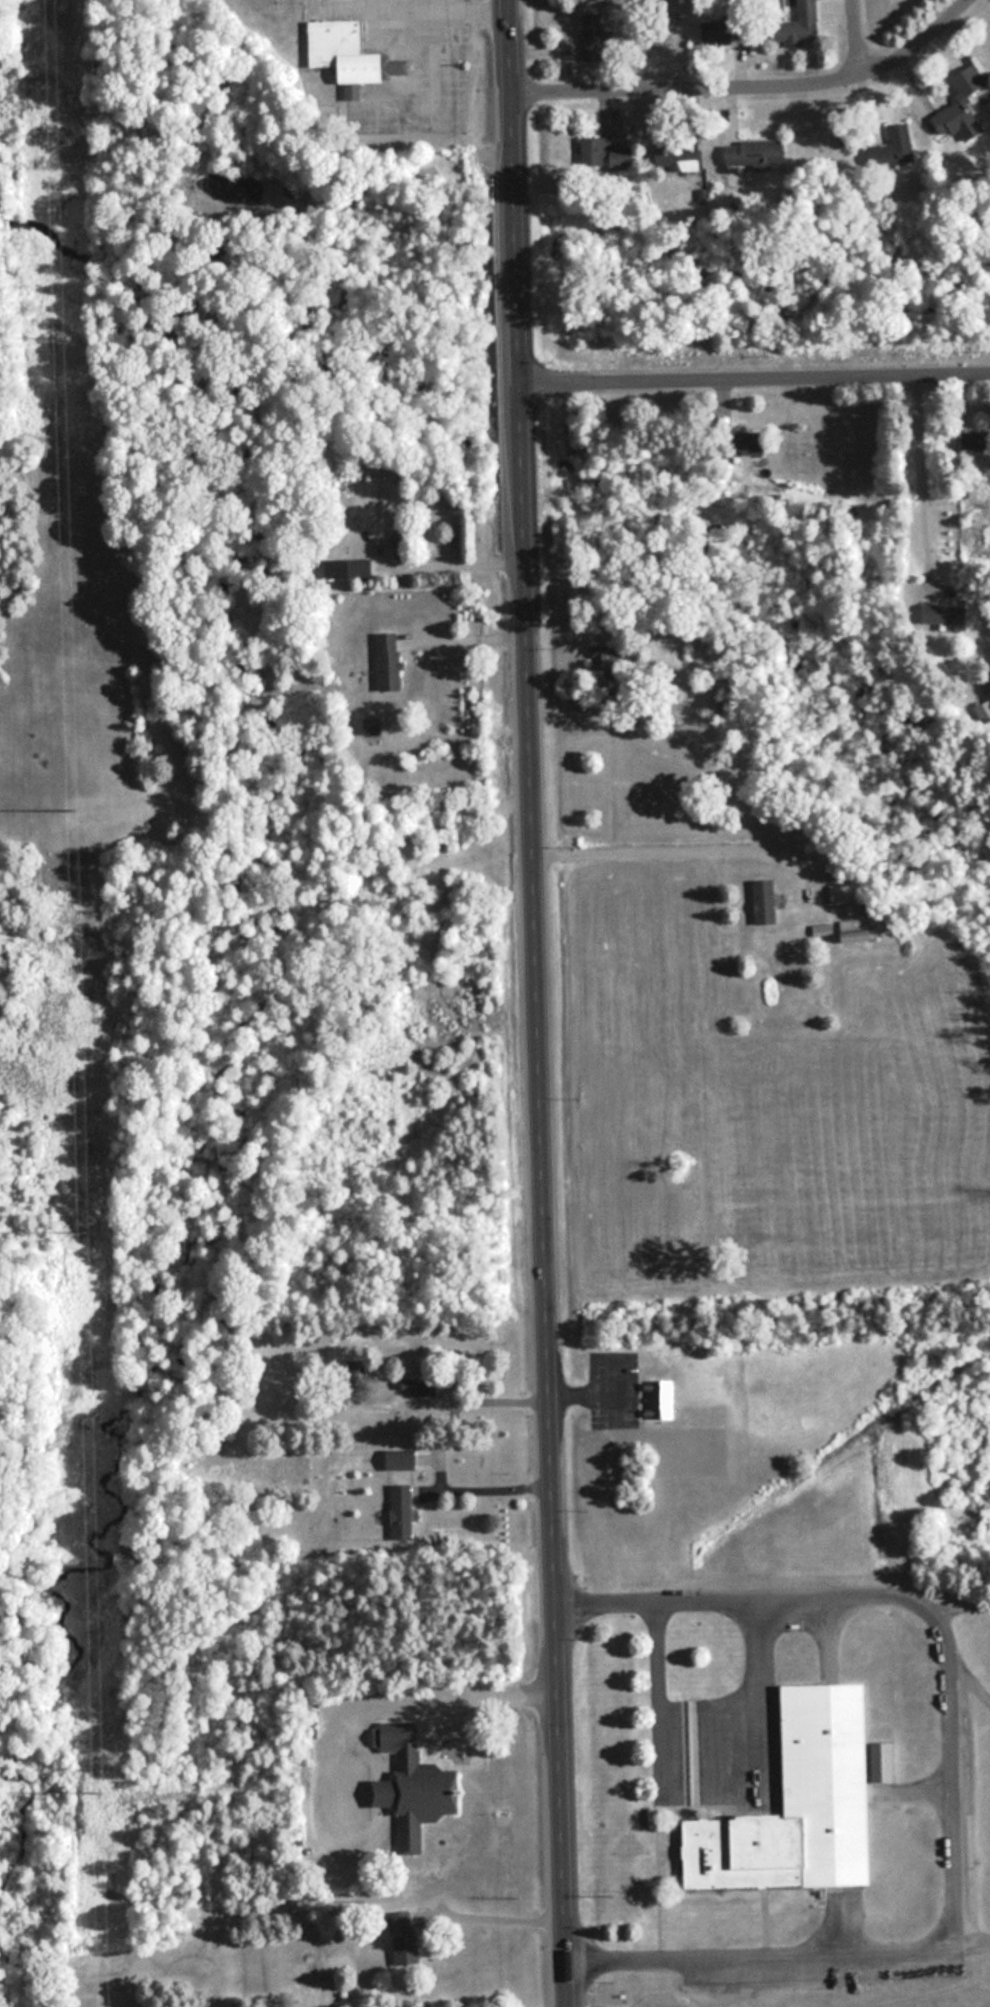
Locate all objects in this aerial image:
building: (800, 22)
building: (725, 31)
building: (595, 38)
road: (855, 39)
building: (350, 53)
road: (757, 89)
building: (964, 106)
building: (892, 151)
building: (756, 153)
building: (605, 155)
power tower: (58, 339)
road: (756, 379)
building: (976, 441)
building: (752, 442)
road: (915, 481)
building: (399, 535)
road: (461, 561)
building: (349, 568)
building: (947, 614)
road: (469, 637)
building: (390, 661)
road: (557, 701)
building: (723, 707)
building: (373, 726)
power tower: (72, 805)
road: (671, 848)
building: (843, 893)
building: (765, 901)
building: (823, 929)
building: (857, 930)
road: (539, 1003)
power tower: (83, 1234)
building: (355, 1369)
building: (423, 1385)
road: (502, 1400)
building: (401, 1459)
road: (489, 1488)
building: (402, 1512)
road: (917, 1603)
road: (759, 1690)
road: (657, 1694)
road: (451, 1701)
building: (886, 1762)
building: (414, 1784)
power tower: (96, 1795)
building: (801, 1805)
road: (499, 1916)
building: (404, 1938)
road: (776, 1961)
park: (788, 1998)

